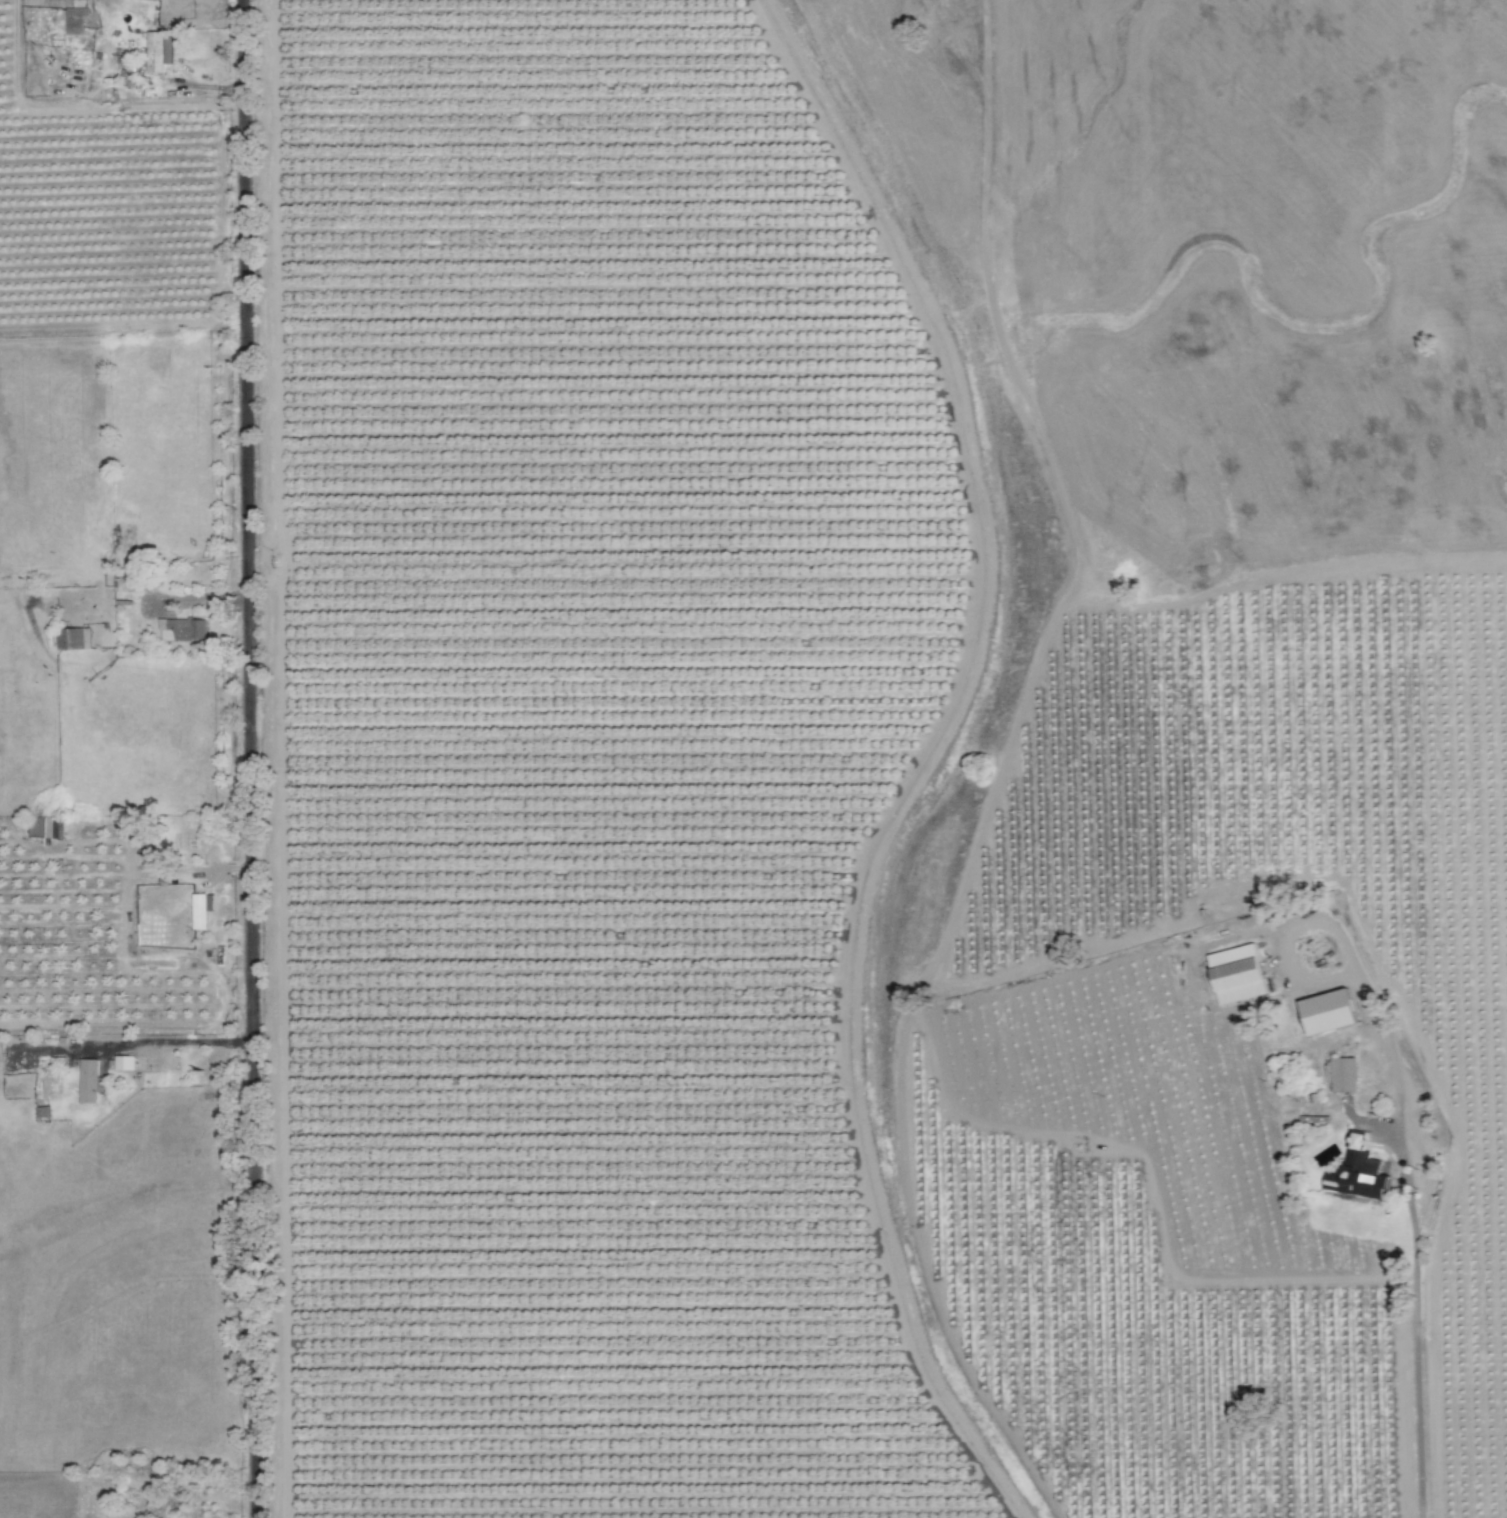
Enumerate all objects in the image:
building: (158, 52)
building: (182, 630)
building: (73, 640)
road: (246, 759)
building: (41, 828)
building: (202, 911)
building: (1238, 975)
building: (1329, 1014)
road: (174, 1043)
building: (167, 1059)
building: (125, 1063)
building: (1344, 1074)
building: (89, 1081)
building: (1359, 1175)
road: (1413, 1253)

